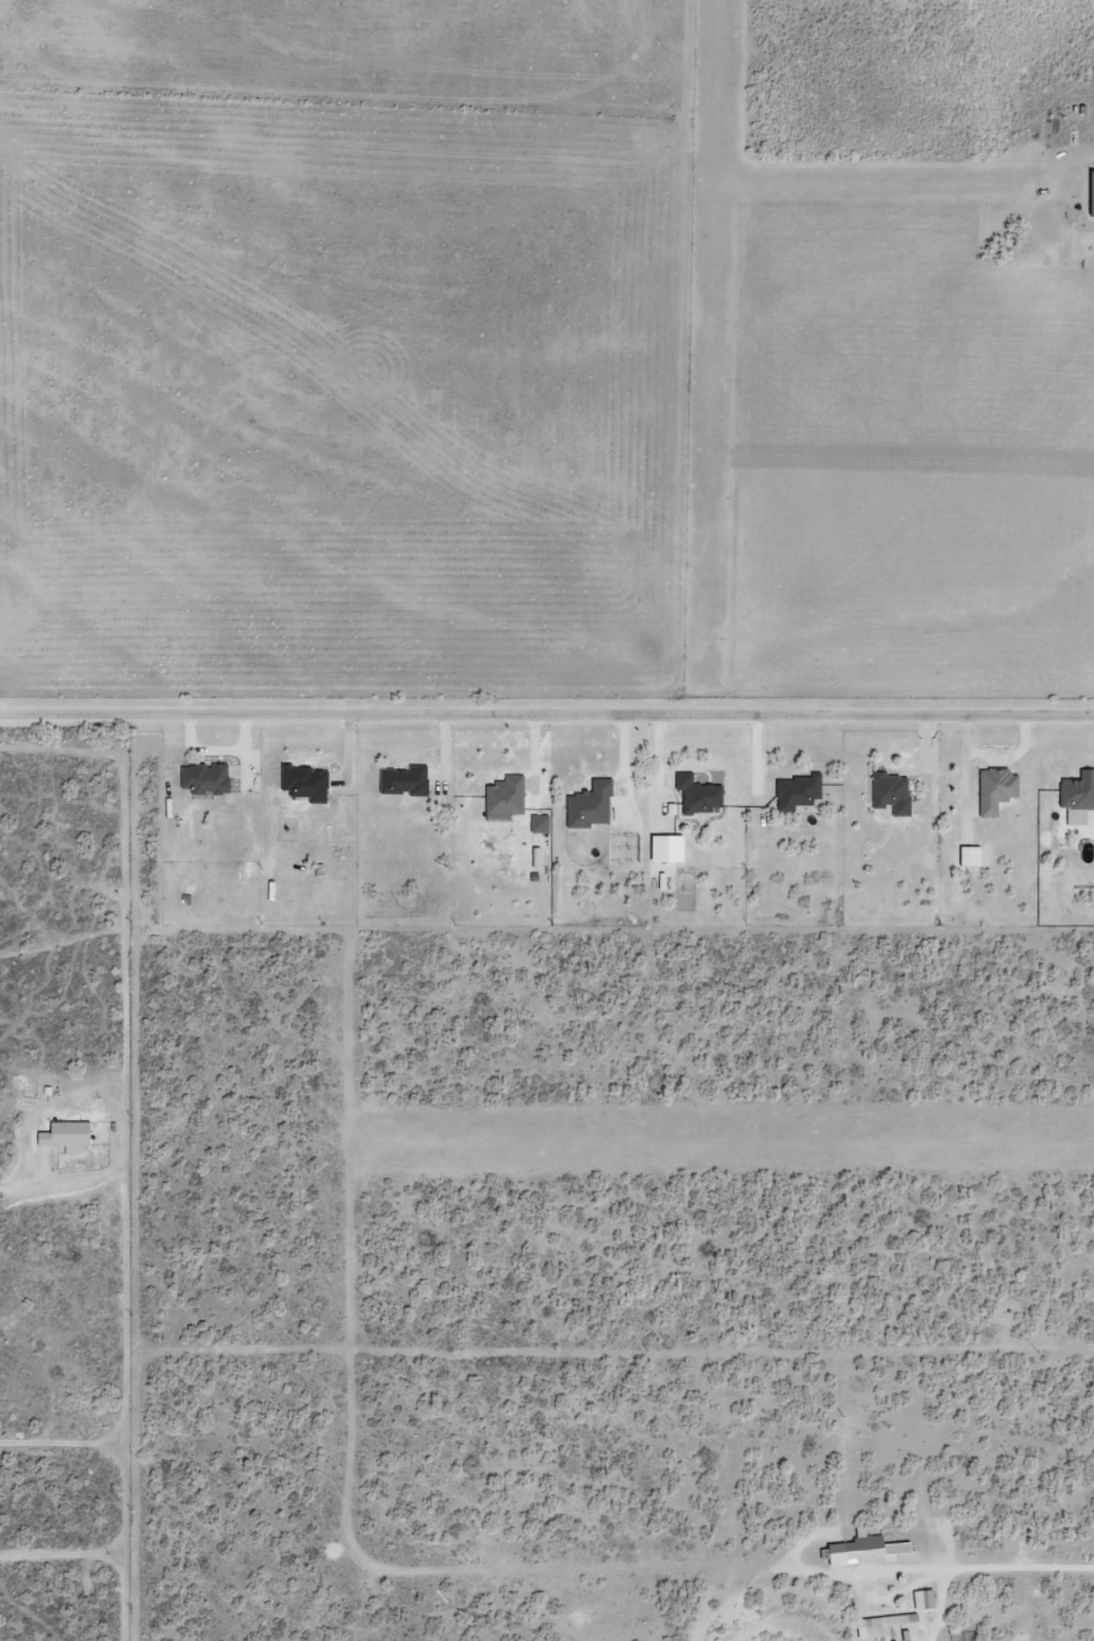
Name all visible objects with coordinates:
road: (1076, 158)
airport taxiway: (886, 179)
airport hangar: (1086, 192)
building: (1086, 192)
airport runway: (710, 346)
road: (547, 713)
building: (204, 778)
building: (403, 779)
building: (303, 781)
building: (994, 789)
building: (796, 790)
building: (1077, 790)
building: (890, 792)
building: (696, 793)
building: (504, 796)
building: (588, 804)
building: (538, 823)
building: (663, 848)
building: (968, 855)
building: (64, 1134)
road: (122, 1487)
building: (861, 1550)
road: (1000, 1567)
building: (923, 1599)
building: (880, 1624)

